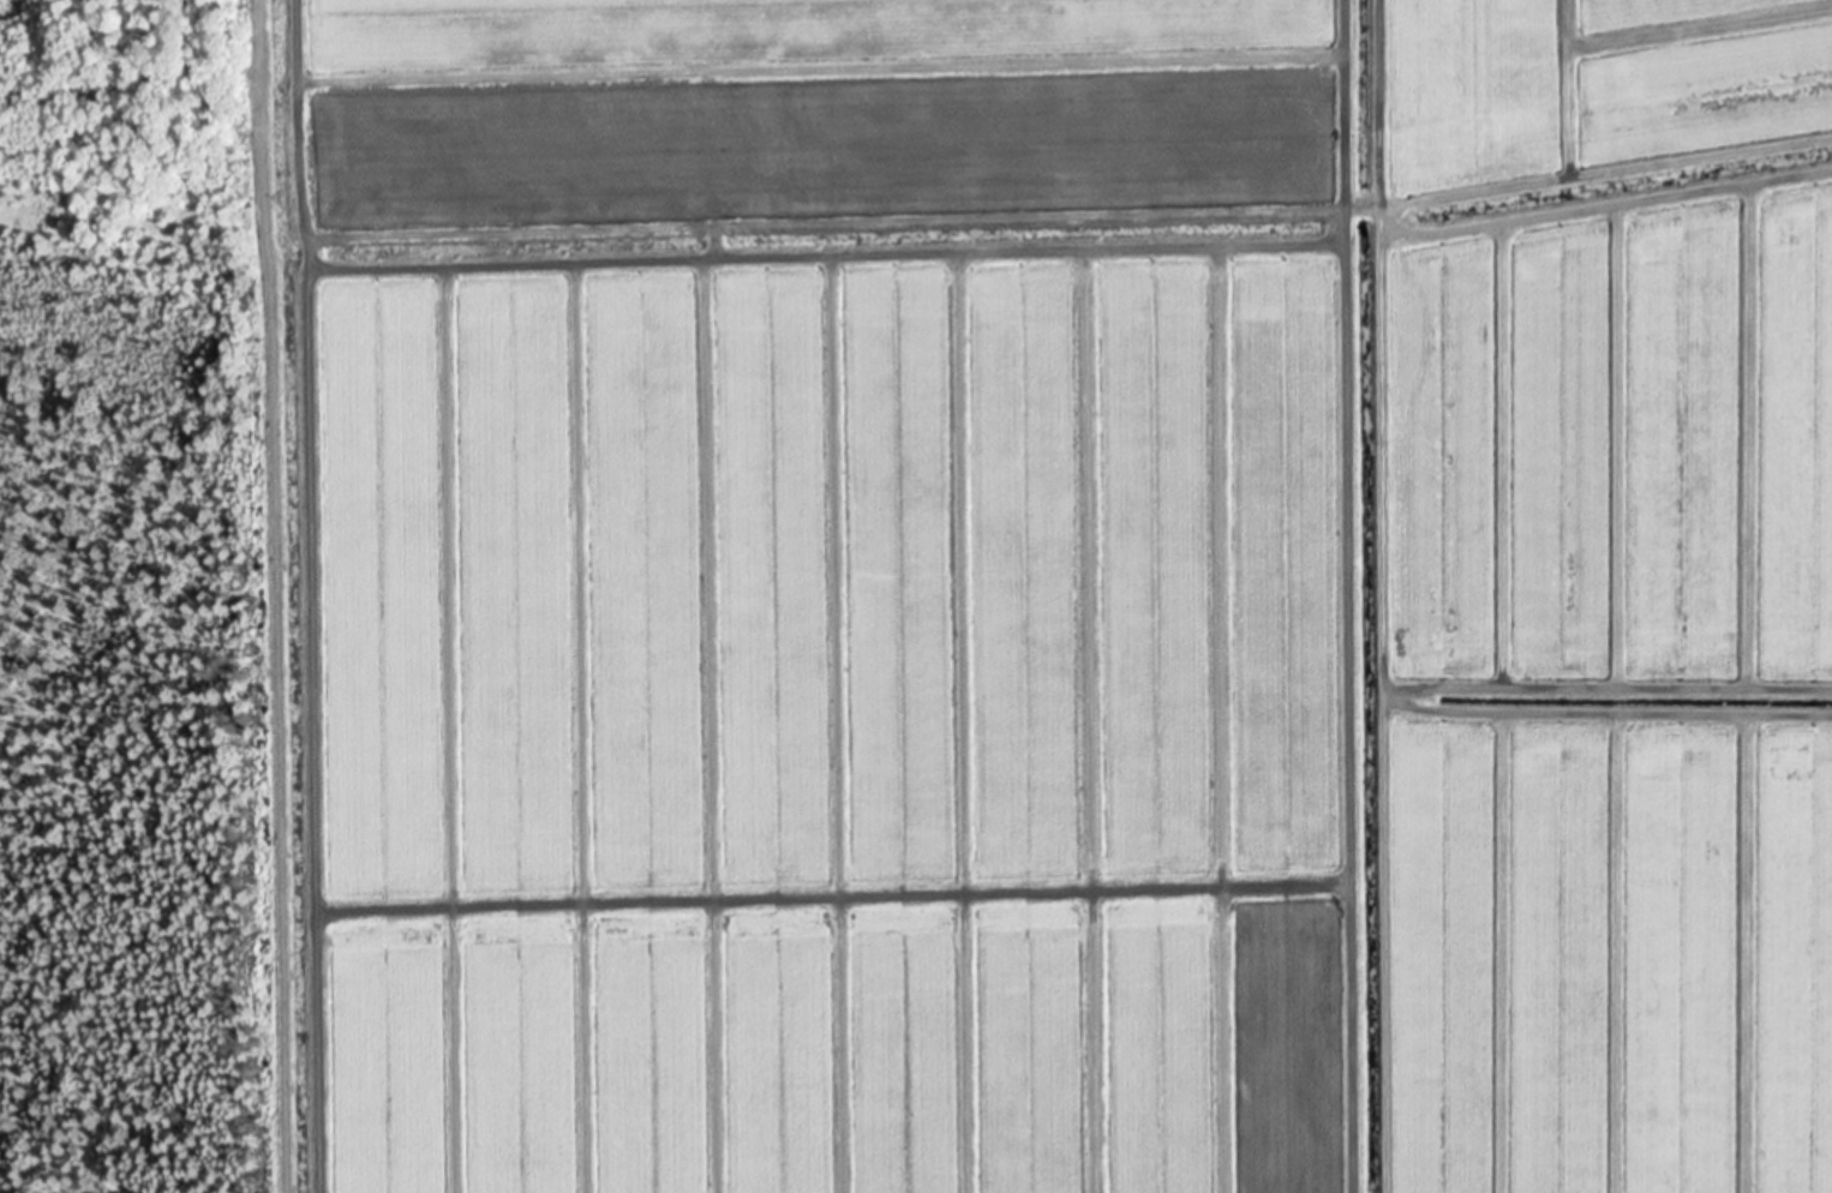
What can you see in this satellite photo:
crop: (1054, 595)

